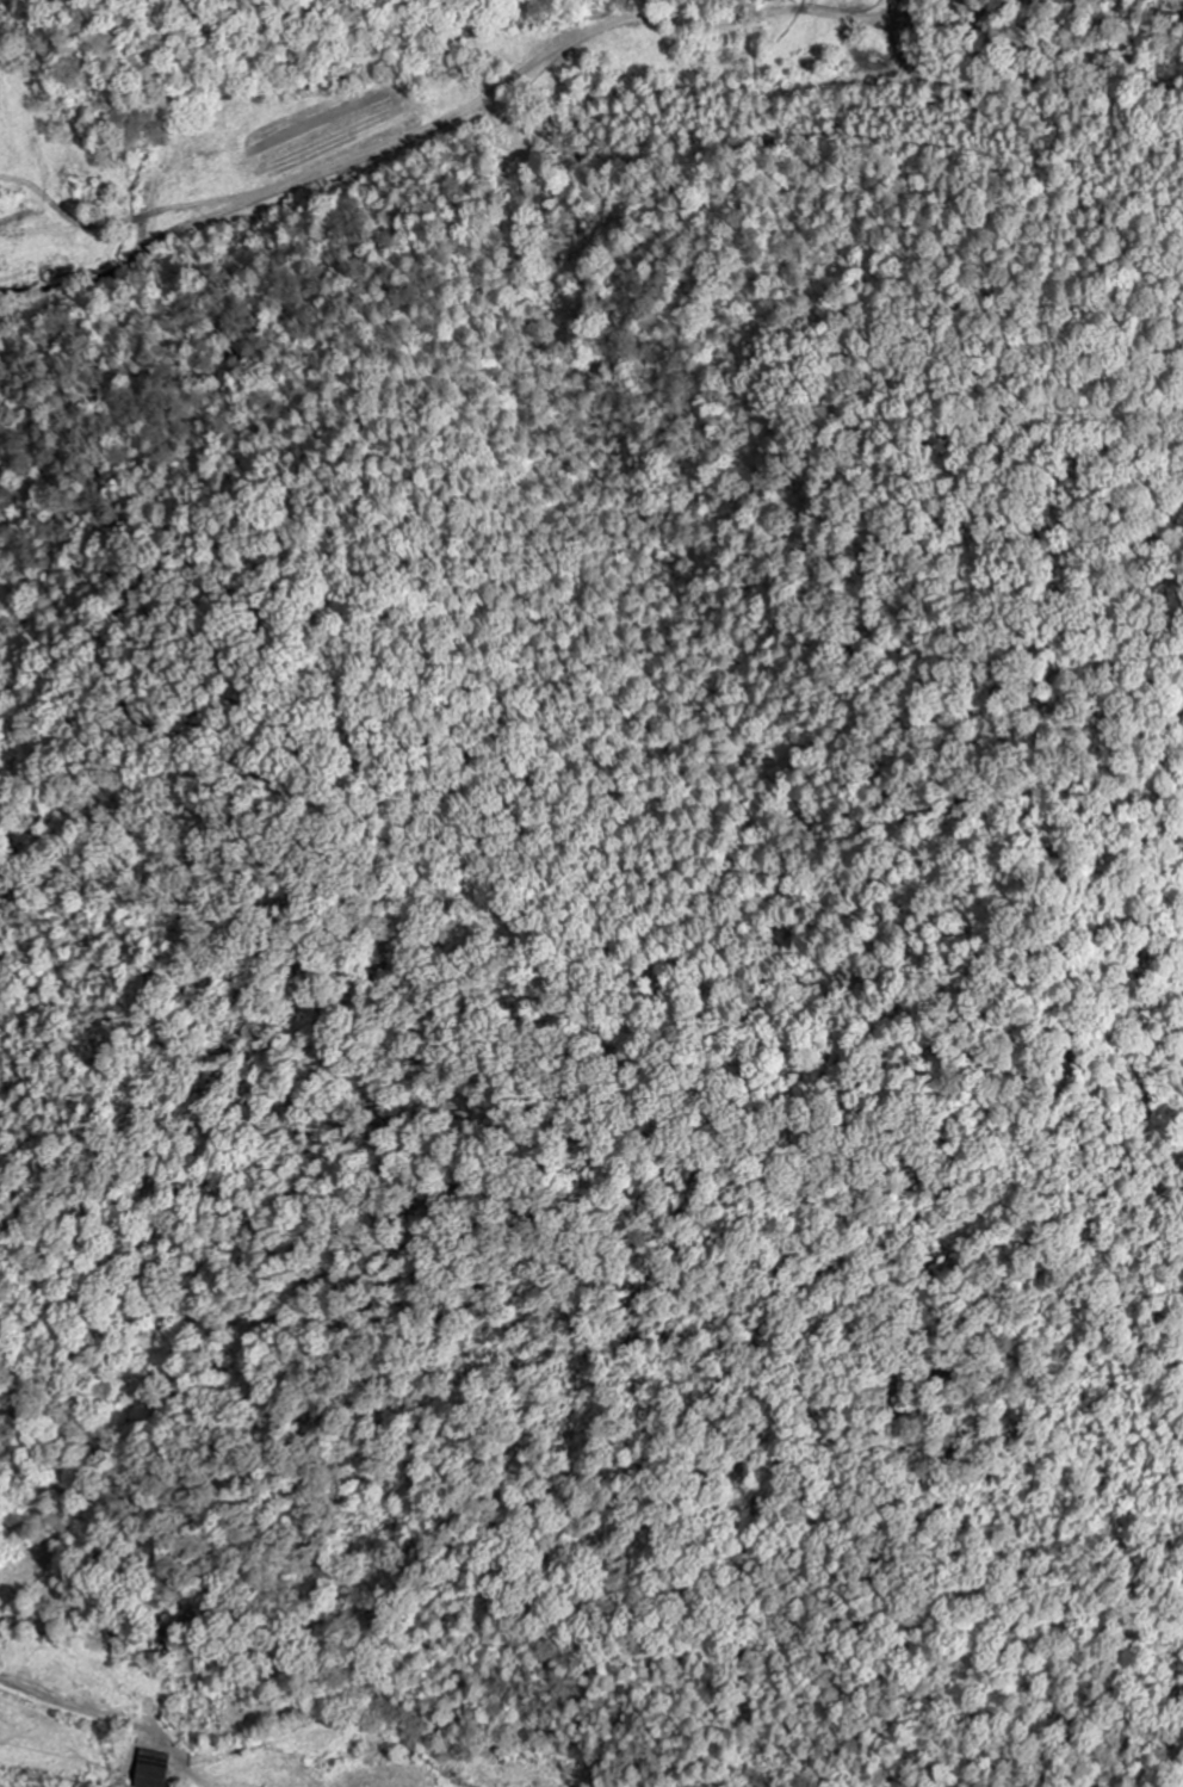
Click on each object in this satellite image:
building: (155, 1773)

